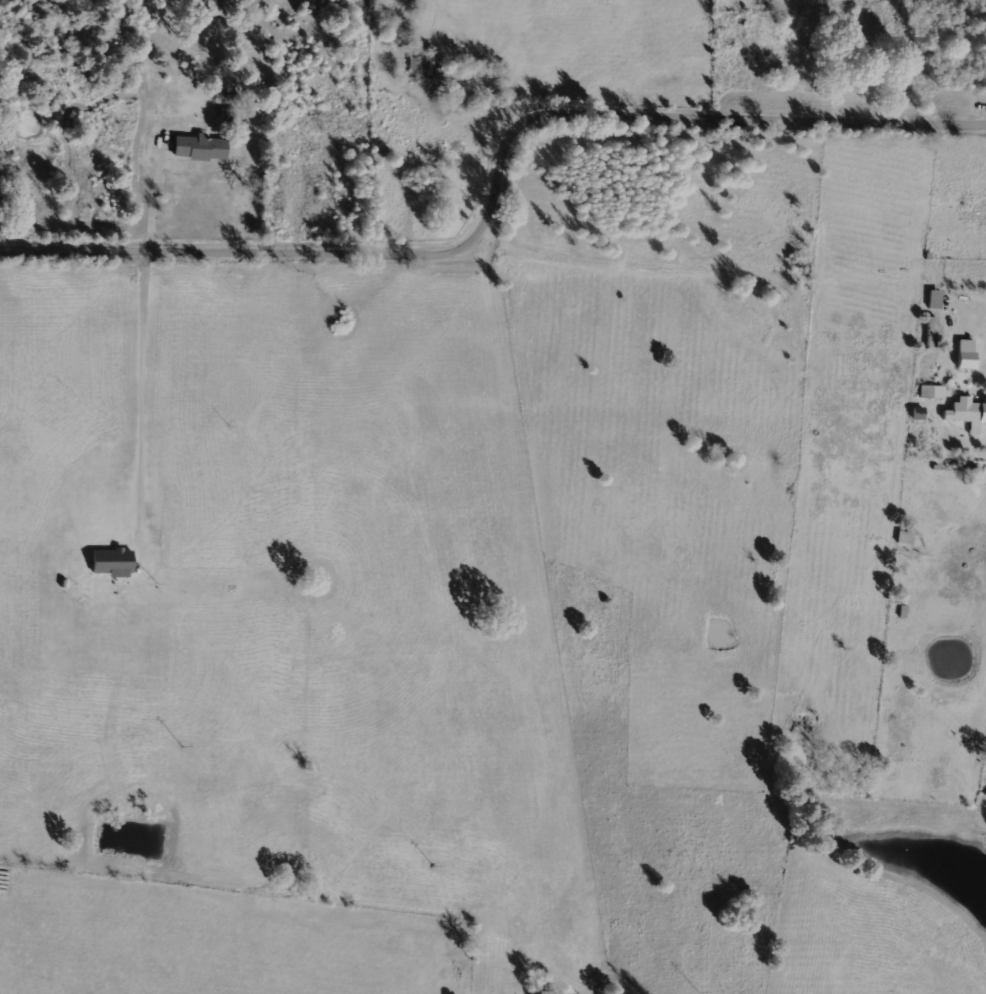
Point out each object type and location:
building: (197, 147)
road: (498, 194)
building: (932, 299)
building: (963, 359)
building: (934, 391)
building: (966, 412)

